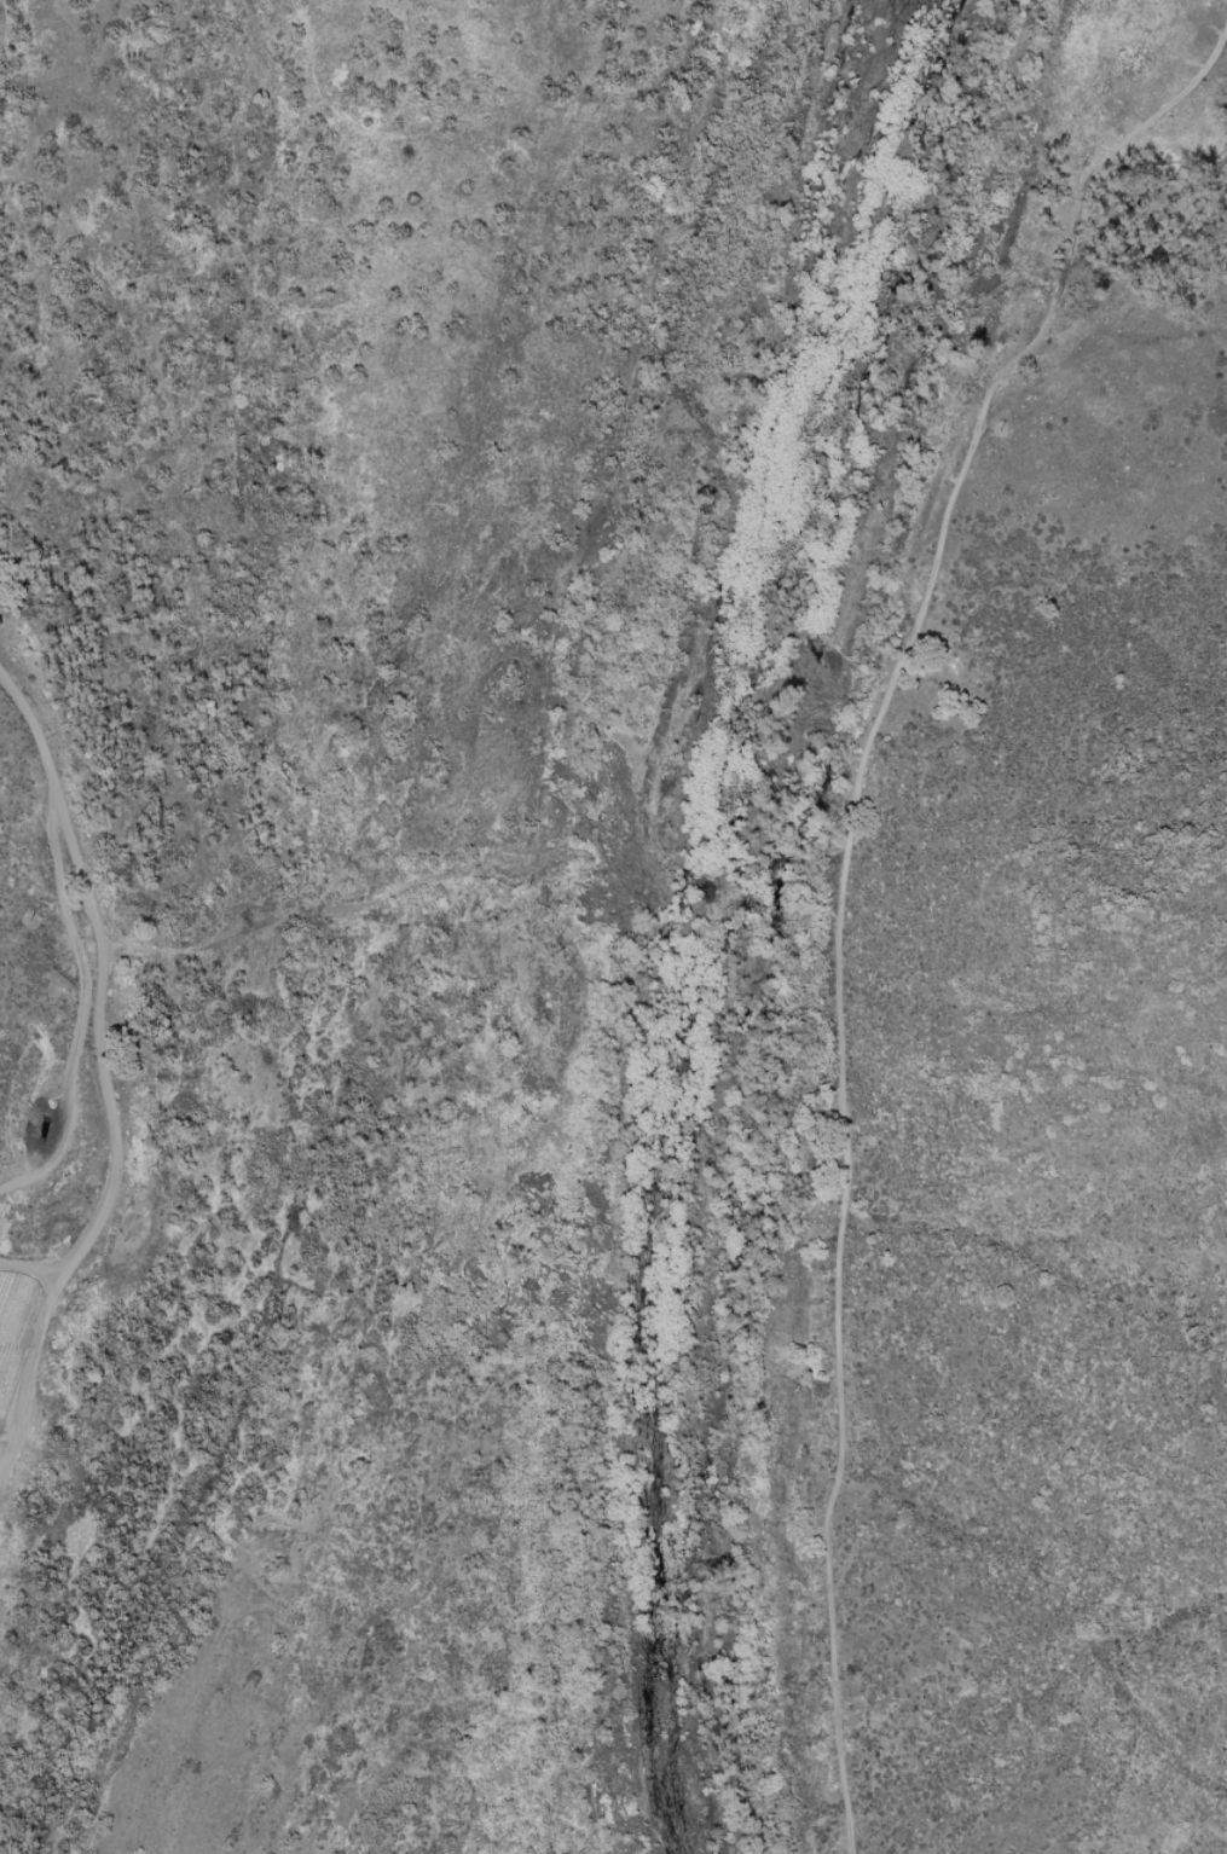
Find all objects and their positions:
road: (839, 882)
river: (748, 919)
park: (624, 926)
road: (102, 1080)

